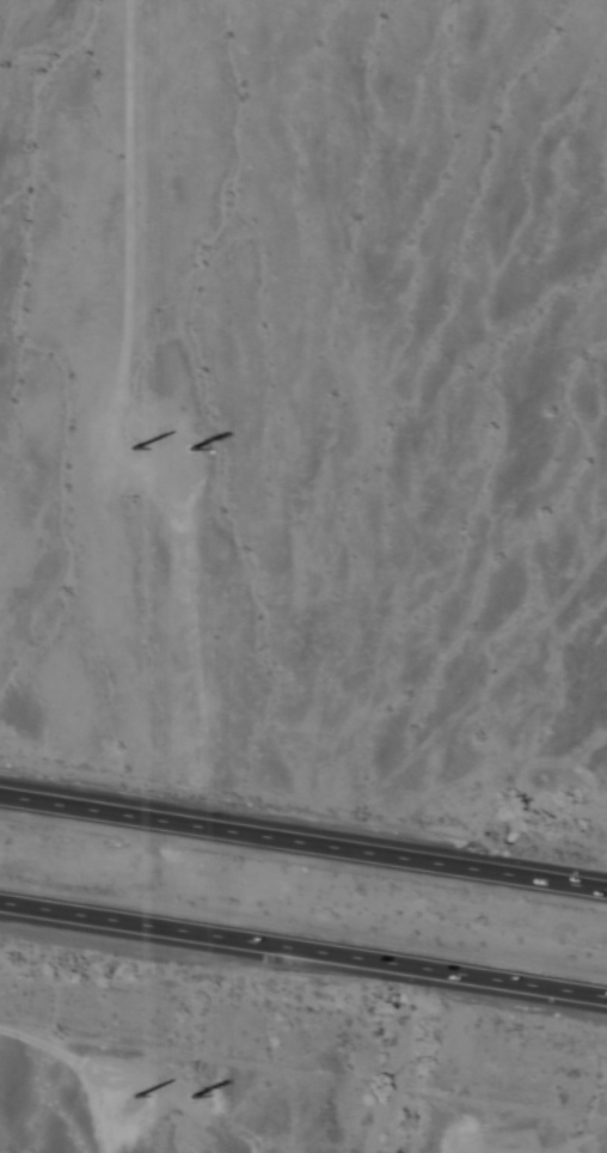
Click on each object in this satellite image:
road: (303, 835)
road: (303, 952)

